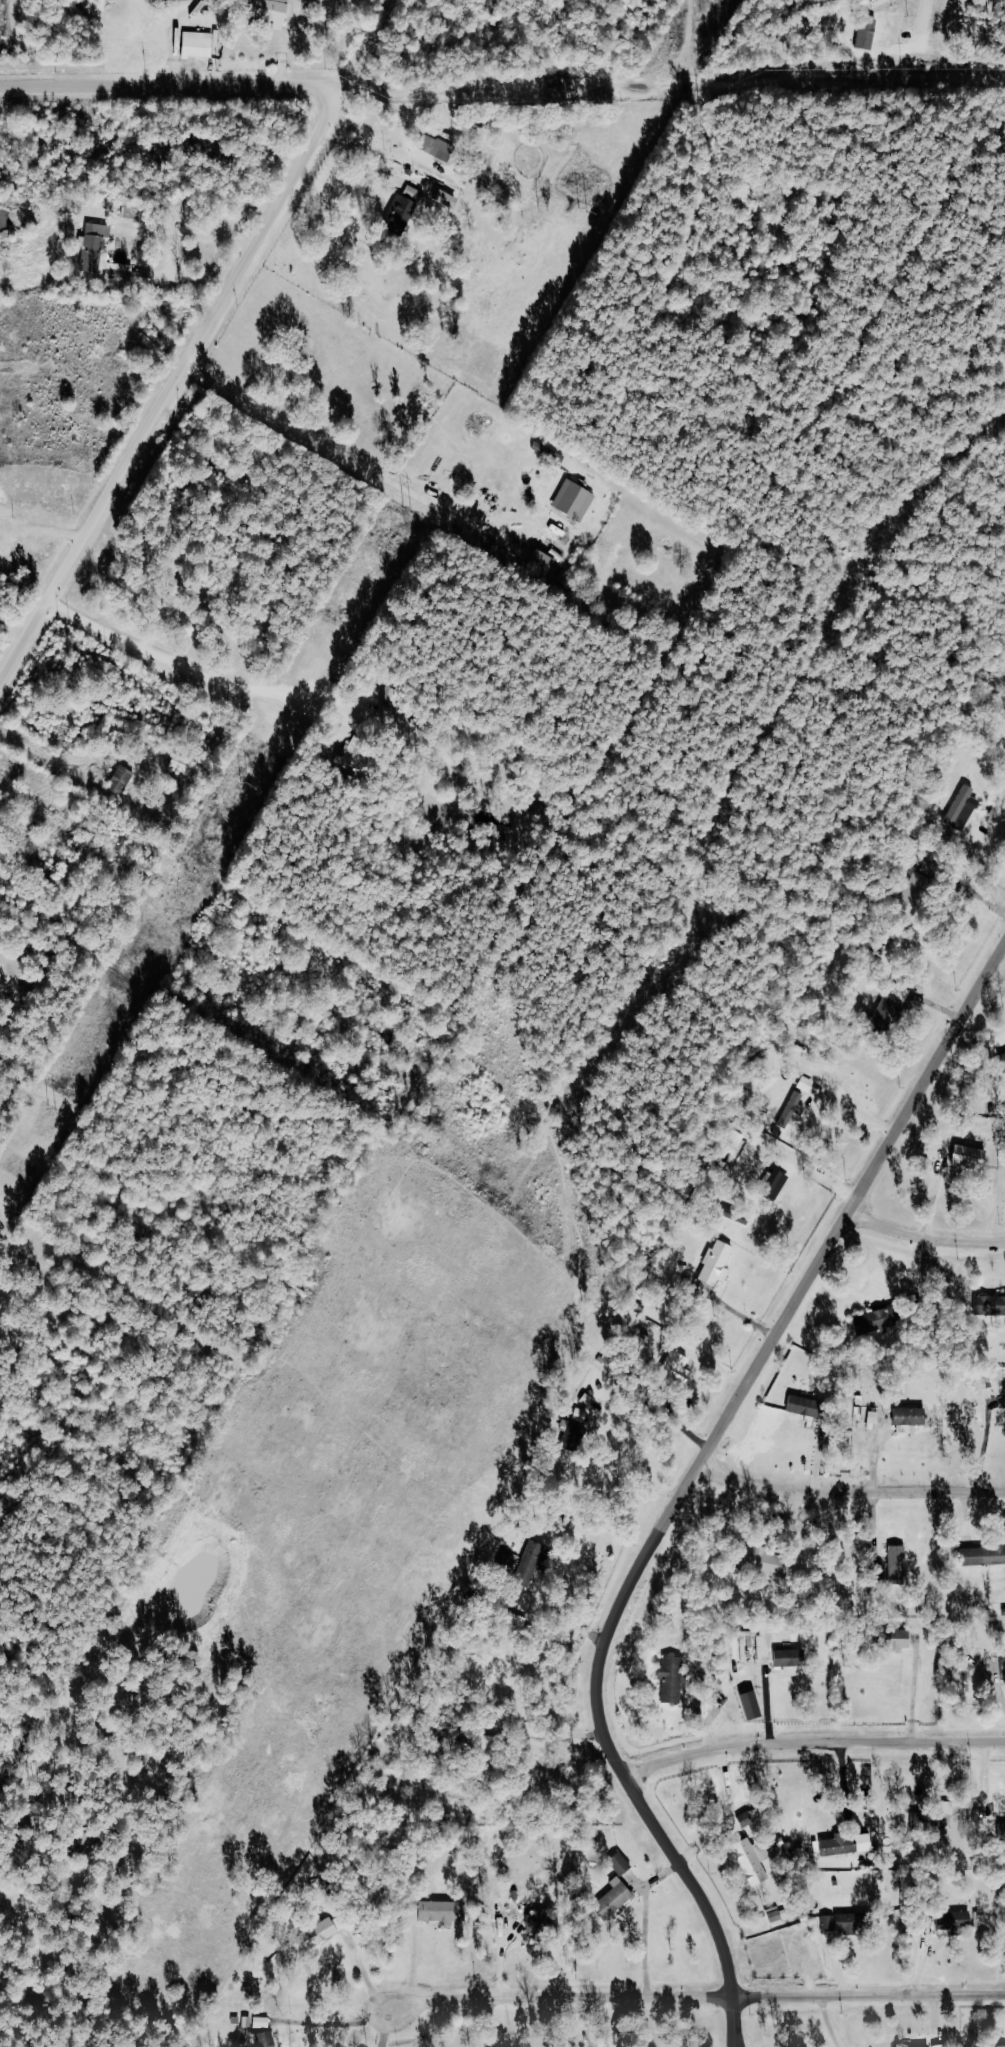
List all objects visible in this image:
building: (274, 10)
road: (938, 27)
building: (201, 45)
road: (13, 93)
road: (185, 95)
building: (440, 148)
building: (451, 200)
building: (407, 209)
power tower: (582, 209)
building: (101, 233)
road: (196, 234)
building: (132, 275)
road: (176, 393)
road: (355, 459)
building: (573, 500)
power tower: (408, 510)
building: (543, 557)
road: (194, 671)
building: (392, 692)
building: (184, 765)
building: (124, 780)
power tower: (239, 780)
building: (963, 808)
road: (989, 837)
road: (1001, 964)
building: (894, 1005)
building: (1001, 1061)
building: (809, 1084)
power tower: (53, 1109)
building: (792, 1109)
road: (859, 1110)
building: (967, 1156)
building: (771, 1183)
road: (926, 1236)
building: (717, 1264)
building: (988, 1305)
building: (872, 1321)
building: (673, 1370)
building: (1004, 1396)
building: (800, 1405)
building: (908, 1419)
building: (574, 1432)
road: (649, 1463)
road: (696, 1471)
road: (849, 1490)
building: (982, 1554)
building: (528, 1564)
building: (892, 1566)
road: (565, 1619)
building: (895, 1640)
building: (784, 1657)
building: (1003, 1664)
building: (670, 1679)
road: (548, 1732)
road: (814, 1741)
road: (732, 1816)
building: (939, 1816)
building: (844, 1844)
building: (749, 1860)
building: (619, 1863)
building: (611, 1899)
building: (429, 1911)
building: (775, 1918)
building: (835, 1921)
road: (647, 1925)
building: (316, 1930)
road: (365, 1970)
road: (829, 1995)
road: (529, 2003)
building: (254, 2022)
road: (341, 2022)
road: (498, 2025)
road: (391, 2026)
road: (736, 2033)
road: (740, 2033)
building: (265, 2039)
building: (916, 2046)
building: (1003, 2046)

